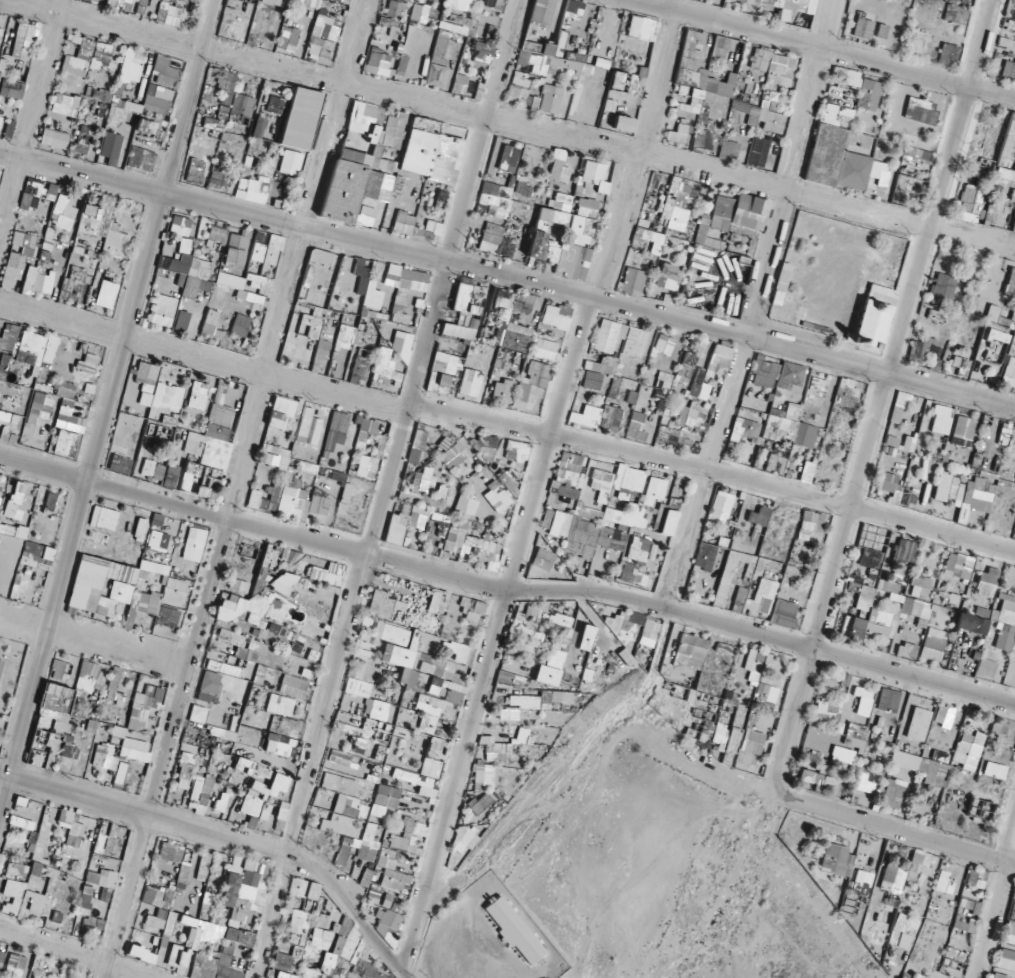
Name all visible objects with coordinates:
park: (643, 813)

